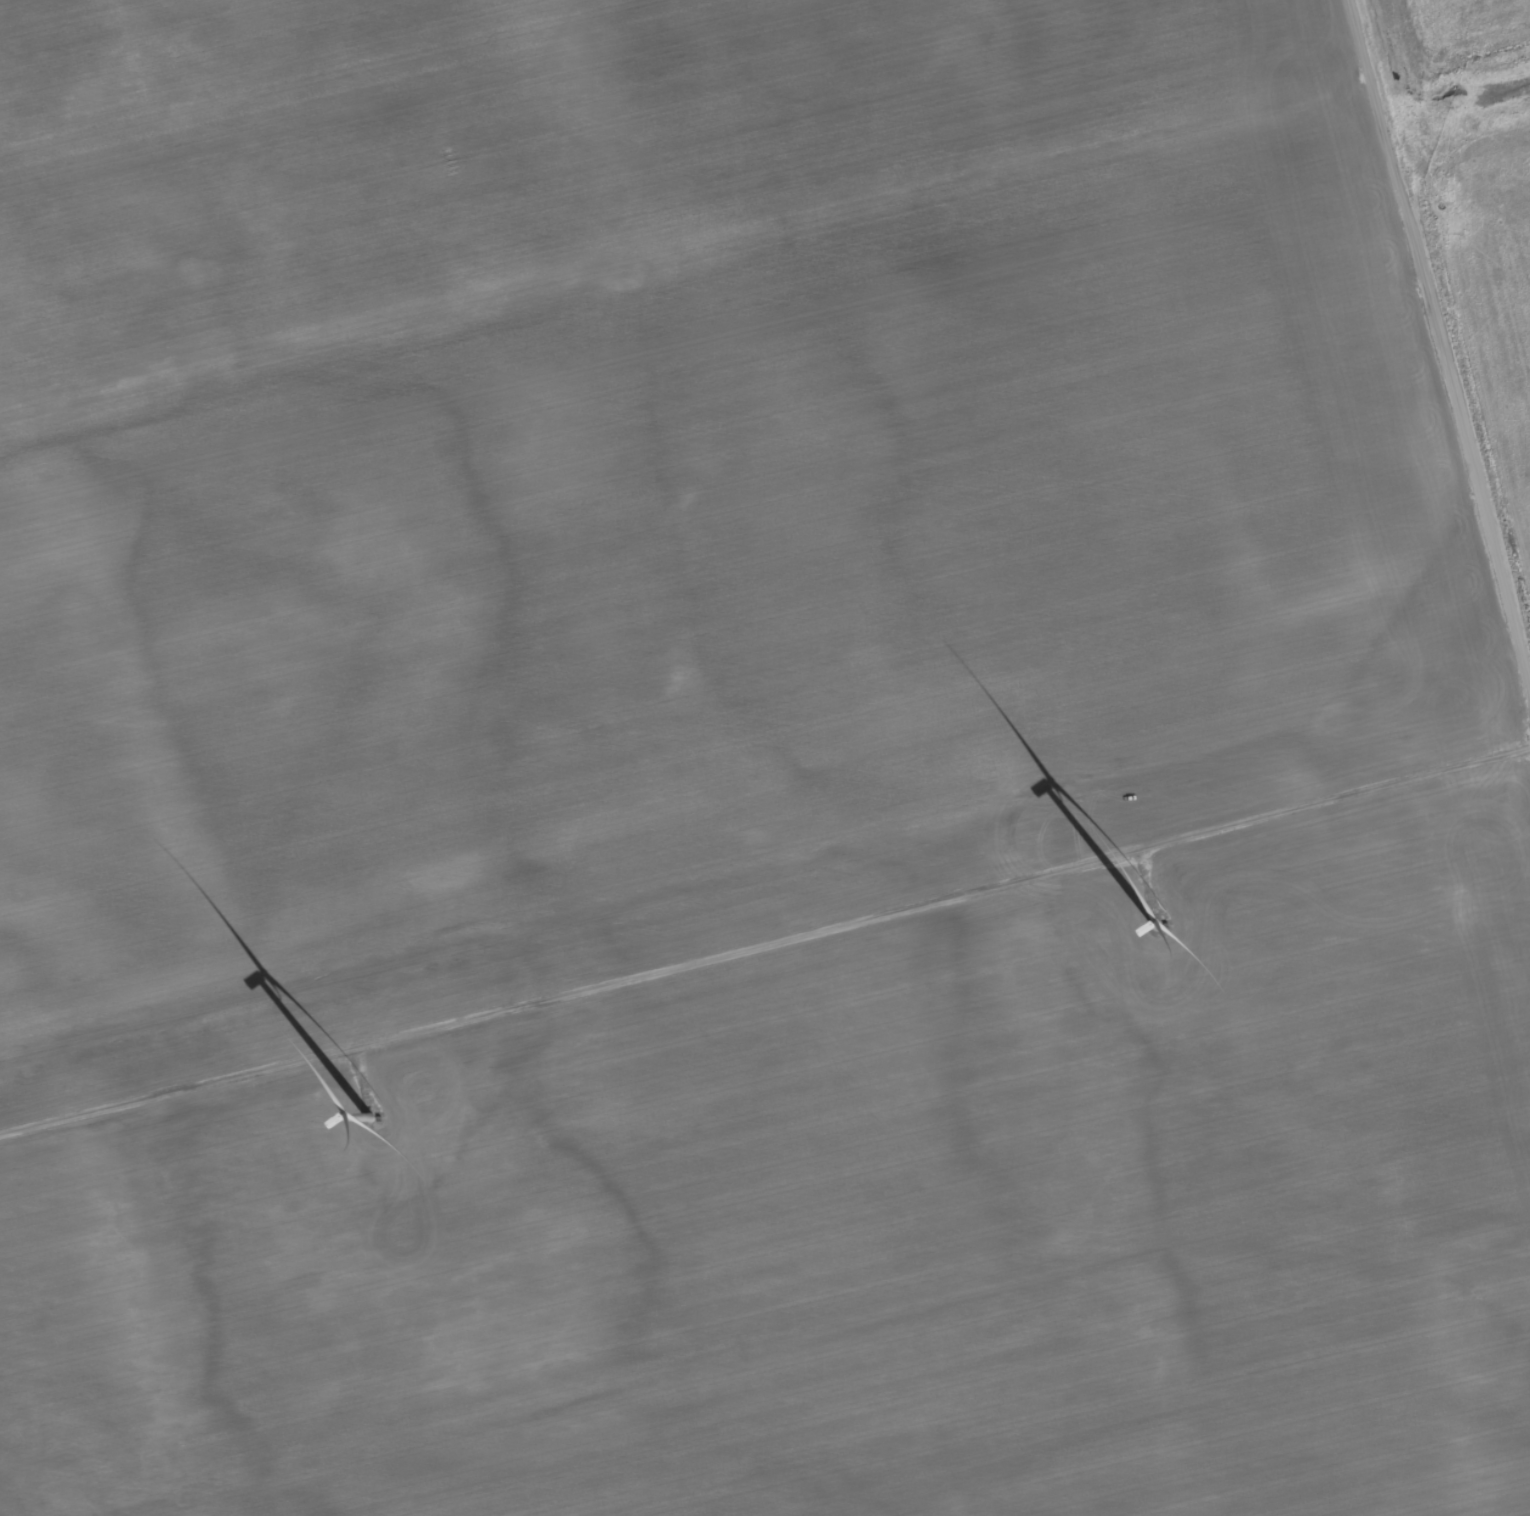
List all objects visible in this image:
road: (1444, 323)
wind turbine: (1143, 917)
wind turbine: (366, 1120)

